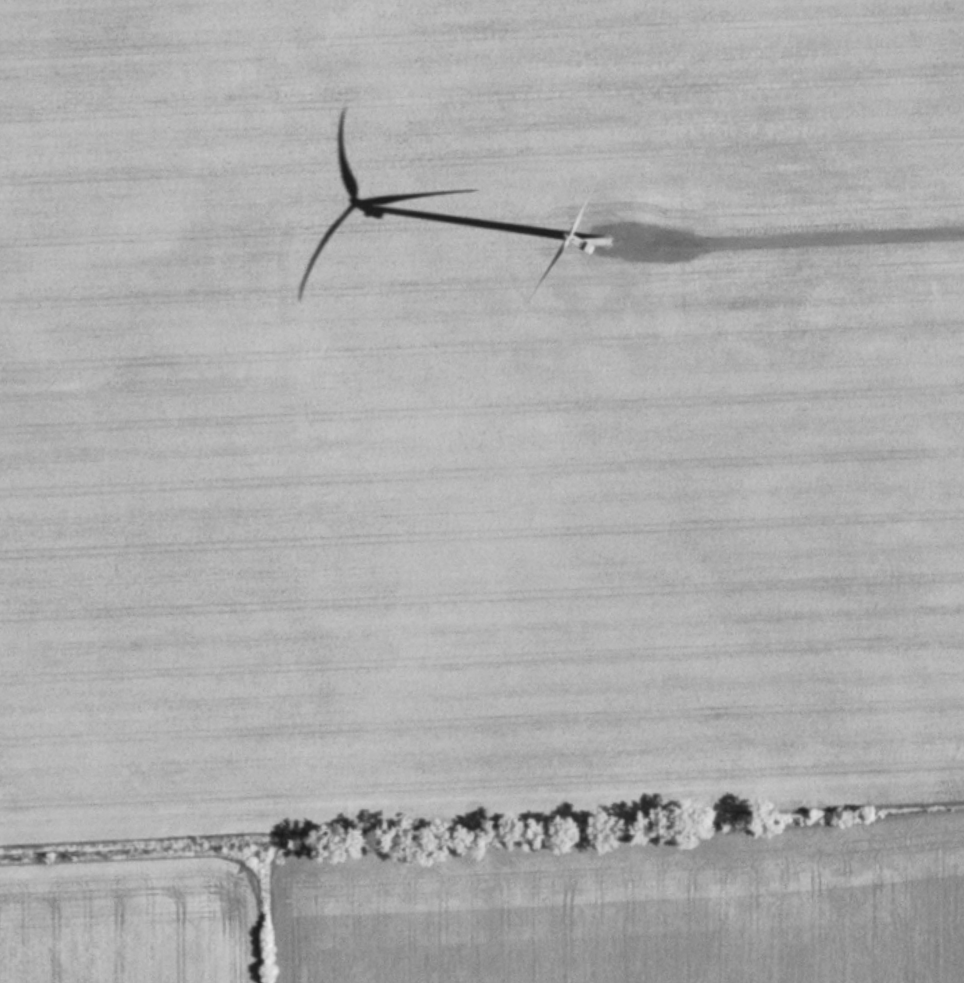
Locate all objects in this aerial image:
road: (841, 236)
wind turbine: (607, 239)

